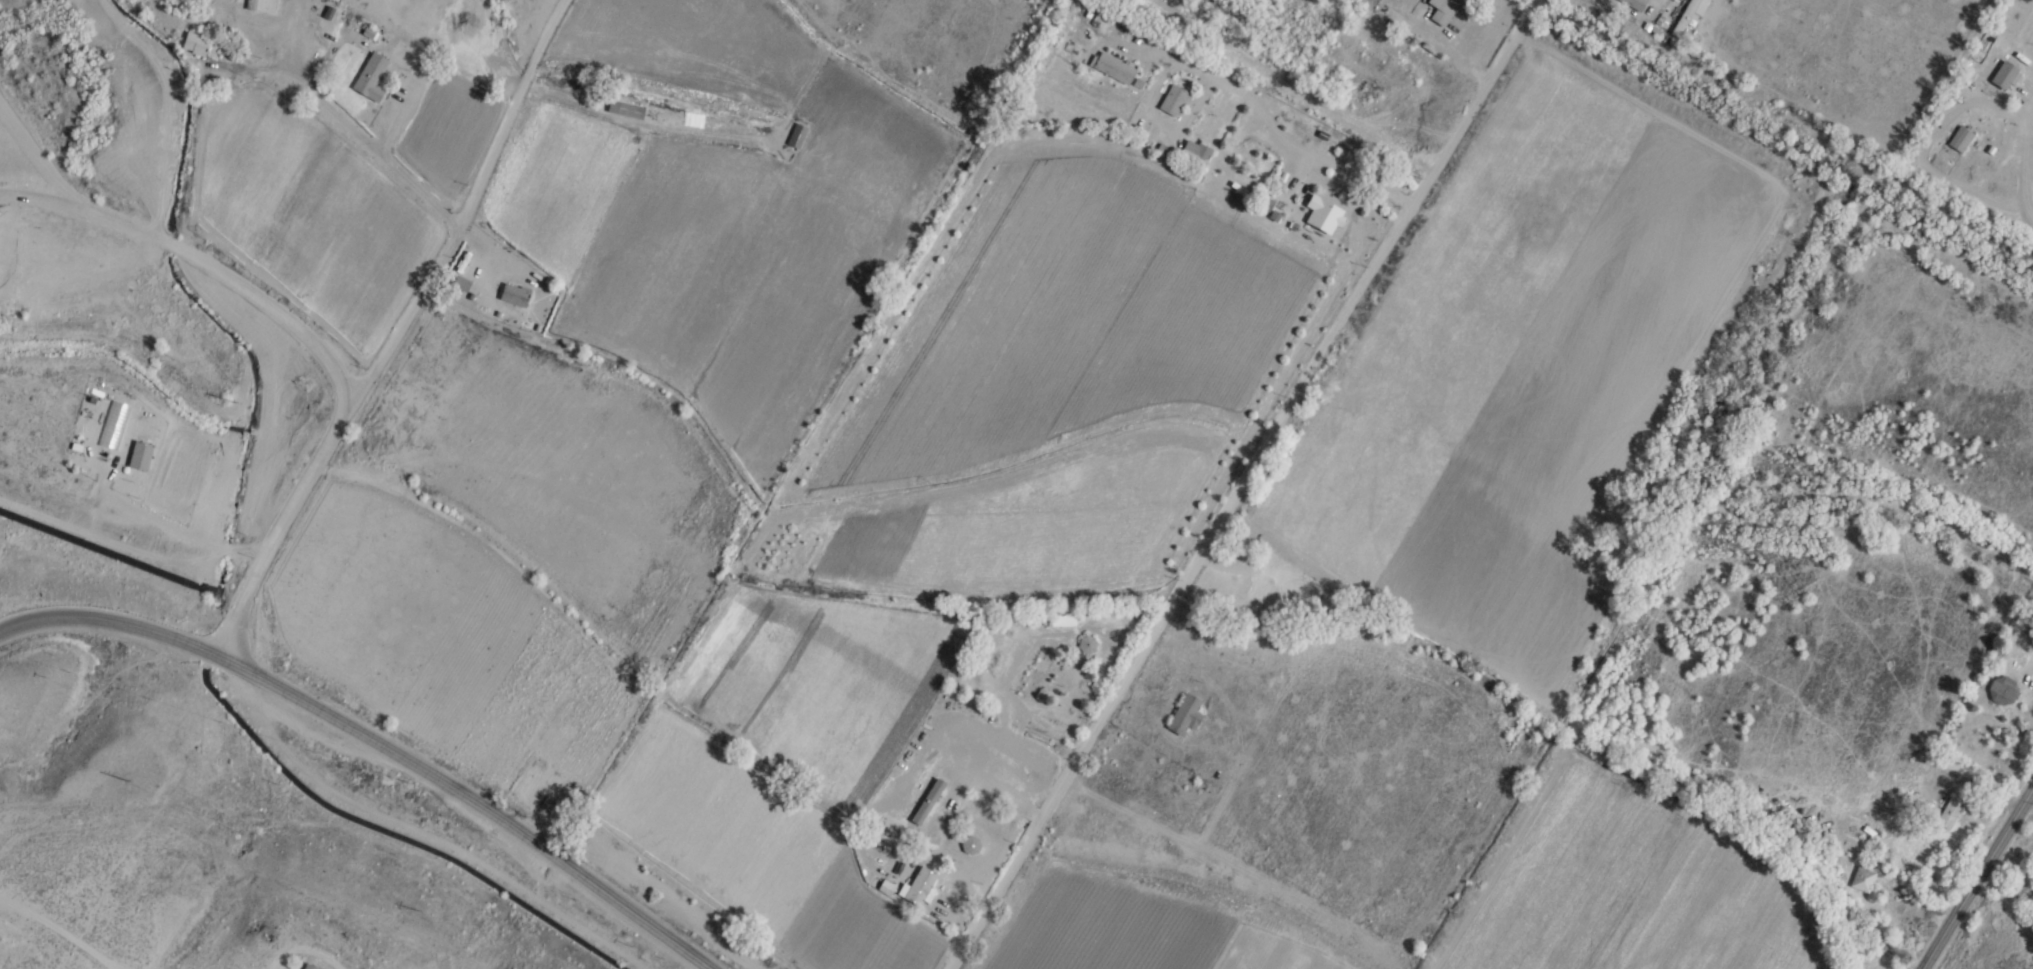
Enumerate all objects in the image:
building: (1637, 4)
building: (263, 6)
building: (1445, 10)
building: (196, 44)
building: (1114, 67)
building: (2007, 76)
building: (370, 83)
building: (1175, 101)
building: (627, 109)
building: (797, 136)
building: (1962, 139)
road: (36, 154)
building: (1194, 157)
road: (36, 198)
building: (1326, 216)
road: (460, 221)
road: (241, 286)
building: (516, 294)
building: (141, 455)
road: (1236, 484)
road: (162, 519)
road: (272, 542)
building: (1277, 593)
building: (1062, 620)
building: (1088, 644)
building: (1039, 674)
building: (2003, 690)
building: (1186, 714)
road: (378, 745)
building: (1949, 812)
building: (967, 845)
building: (1864, 879)
road: (1978, 882)
building: (922, 886)
road: (60, 929)
building: (311, 966)

